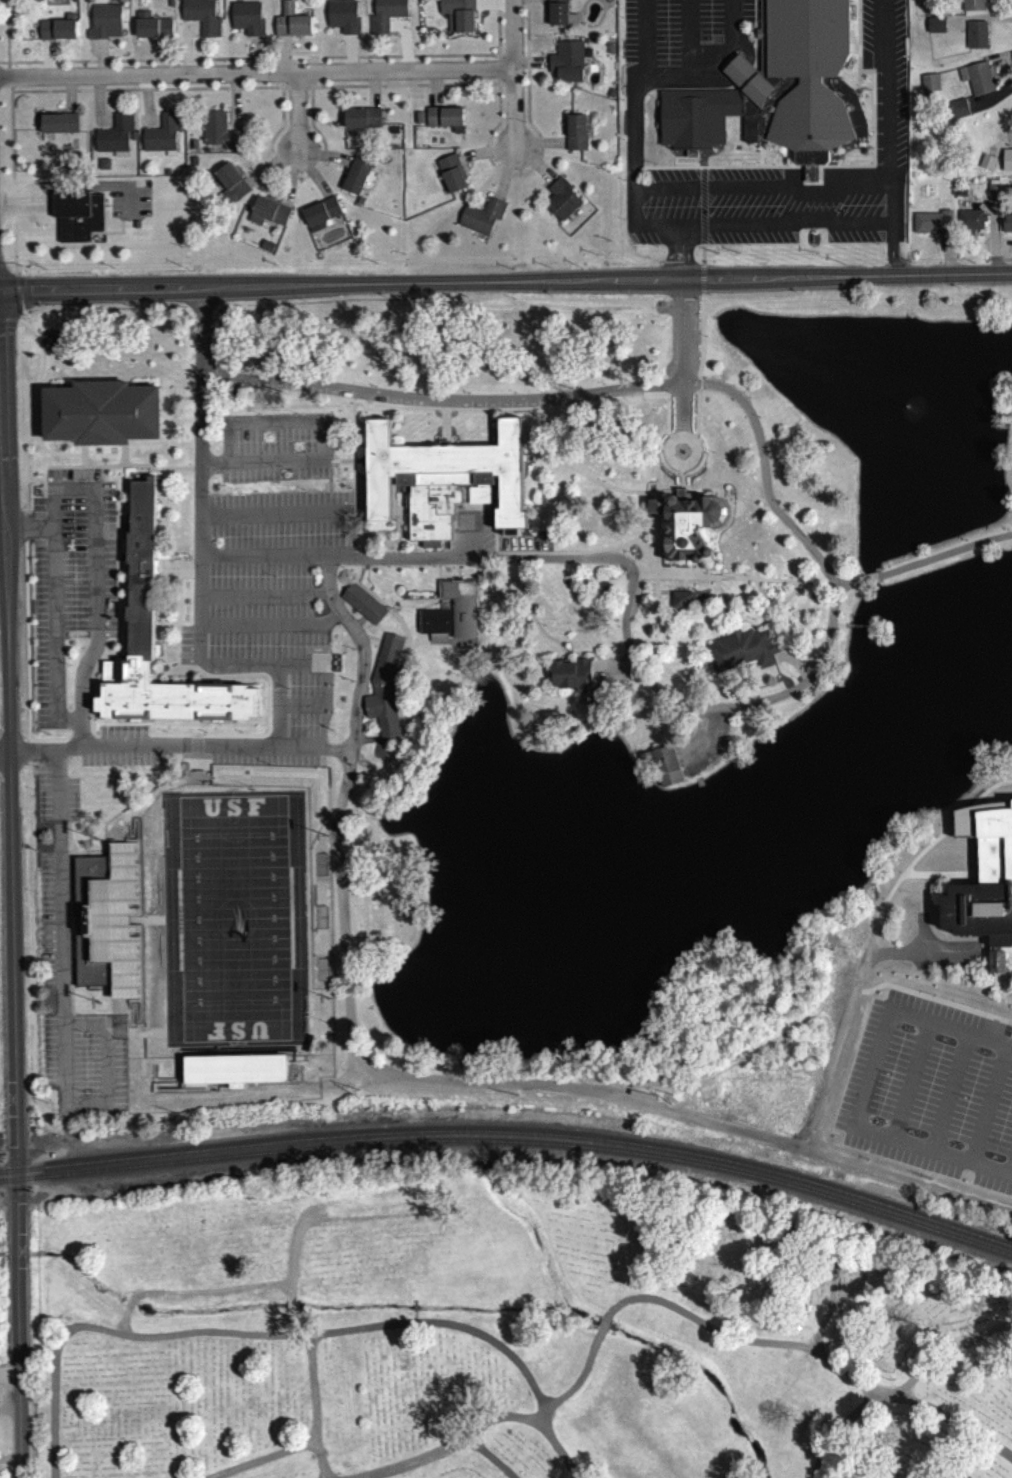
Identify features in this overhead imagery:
building: (119, 2)
road: (529, 2)
building: (73, 3)
road: (525, 3)
building: (88, 4)
building: (170, 6)
building: (972, 7)
road: (493, 9)
building: (556, 14)
building: (386, 16)
building: (458, 16)
building: (201, 20)
building: (343, 21)
road: (977, 21)
building: (247, 23)
building: (104, 26)
building: (291, 27)
road: (496, 29)
building: (935, 29)
building: (151, 31)
road: (688, 32)
road: (6, 33)
building: (56, 34)
road: (753, 36)
building: (975, 40)
road: (754, 41)
parking lot: (678, 43)
road: (403, 46)
road: (852, 48)
road: (184, 50)
road: (349, 58)
road: (282, 59)
road: (724, 59)
road: (253, 60)
road: (164, 61)
road: (99, 62)
road: (46, 63)
street lamp: (491, 63)
road: (732, 63)
road: (251, 64)
road: (511, 64)
road: (728, 64)
road: (310, 65)
building: (566, 66)
road: (5, 67)
street lamp: (223, 68)
road: (529, 68)
street lamp: (82, 70)
road: (497, 74)
road: (512, 75)
road: (310, 77)
road: (256, 78)
road: (7, 81)
road: (680, 81)
building: (975, 81)
road: (497, 84)
building: (800, 84)
building: (928, 87)
road: (309, 89)
road: (848, 89)
road: (403, 90)
road: (857, 90)
road: (306, 91)
road: (11, 92)
road: (282, 92)
road: (285, 92)
road: (294, 92)
road: (850, 92)
road: (9, 93)
road: (435, 93)
road: (738, 93)
road: (373, 94)
road: (51, 95)
building: (610, 97)
road: (311, 99)
road: (68, 100)
road: (991, 103)
road: (233, 107)
road: (95, 110)
road: (144, 110)
road: (888, 111)
building: (957, 113)
road: (871, 114)
road: (296, 118)
building: (445, 122)
building: (695, 122)
building: (362, 123)
building: (419, 123)
building: (58, 128)
street lamp: (523, 128)
street lamp: (308, 133)
road: (869, 134)
building: (392, 135)
building: (219, 136)
building: (575, 137)
building: (161, 138)
building: (114, 139)
building: (133, 141)
building: (191, 148)
road: (538, 149)
road: (538, 155)
road: (484, 158)
road: (760, 160)
road: (323, 161)
building: (191, 165)
road: (533, 168)
road: (269, 170)
road: (831, 171)
road: (632, 173)
road: (502, 177)
building: (357, 178)
building: (451, 178)
parking lot: (793, 179)
road: (312, 180)
road: (297, 182)
road: (290, 184)
building: (229, 189)
road: (89, 192)
building: (992, 196)
road: (100, 200)
road: (25, 203)
building: (561, 204)
parking lot: (129, 205)
building: (359, 205)
road: (701, 210)
road: (36, 212)
building: (321, 216)
building: (268, 217)
road: (784, 219)
building: (76, 220)
building: (481, 220)
road: (124, 222)
building: (969, 225)
road: (50, 226)
building: (931, 226)
building: (1006, 227)
road: (58, 228)
building: (135, 229)
road: (112, 236)
road: (110, 238)
road: (992, 241)
building: (266, 251)
road: (891, 251)
road: (684, 254)
road: (668, 256)
road: (946, 257)
road: (701, 259)
road: (699, 270)
road: (653, 279)
road: (742, 279)
road: (898, 279)
road: (391, 283)
road: (701, 284)
road: (87, 288)
road: (17, 298)
road: (702, 299)
road: (7, 325)
road: (18, 326)
road: (699, 341)
road: (202, 350)
road: (681, 357)
road: (74, 387)
road: (152, 387)
road: (696, 390)
parking lot: (282, 392)
road: (353, 396)
road: (440, 397)
road: (653, 397)
road: (681, 398)
road: (350, 403)
parking lot: (586, 403)
road: (356, 406)
parking lot: (397, 406)
road: (697, 407)
parking lot: (507, 409)
road: (365, 412)
fountain: (905, 412)
road: (523, 413)
road: (522, 414)
road: (449, 416)
building: (102, 418)
road: (541, 421)
road: (444, 432)
road: (666, 437)
road: (695, 438)
road: (322, 442)
road: (669, 442)
road: (691, 442)
road: (38, 445)
road: (655, 448)
road: (115, 451)
road: (100, 452)
parking lot: (272, 452)
road: (1, 455)
road: (82, 455)
road: (198, 457)
road: (353, 460)
road: (123, 461)
road: (529, 463)
road: (327, 466)
road: (342, 466)
road: (357, 466)
road: (706, 467)
road: (684, 471)
road: (64, 472)
road: (177, 473)
road: (689, 473)
road: (192, 474)
road: (571, 474)
road: (680, 474)
road: (328, 475)
road: (763, 475)
road: (142, 479)
road: (680, 485)
building: (444, 487)
road: (328, 491)
road: (717, 492)
road: (712, 494)
road: (396, 495)
road: (495, 495)
road: (467, 497)
road: (327, 498)
road: (339, 499)
road: (353, 499)
road: (463, 499)
road: (393, 501)
road: (2, 509)
road: (478, 509)
road: (656, 511)
road: (460, 512)
road: (46, 516)
road: (617, 516)
road: (402, 518)
road: (275, 519)
road: (350, 519)
road: (353, 519)
road: (653, 522)
road: (360, 524)
road: (366, 525)
building: (689, 530)
parking lot: (486, 531)
road: (644, 531)
road: (494, 534)
road: (26, 535)
road: (521, 535)
road: (1, 536)
street lamp: (73, 537)
road: (354, 538)
road: (397, 538)
road: (520, 544)
road: (352, 546)
parking lot: (520, 550)
road: (548, 558)
road: (944, 559)
road: (268, 560)
road: (397, 560)
road: (359, 562)
road: (192, 567)
road: (650, 567)
road: (361, 570)
road: (184, 571)
road: (455, 571)
road: (475, 571)
building: (141, 572)
road: (669, 572)
road: (688, 572)
road: (694, 572)
road: (667, 573)
road: (159, 575)
road: (195, 575)
road: (655, 575)
road: (663, 578)
road: (171, 579)
road: (461, 579)
street lamp: (272, 581)
road: (456, 581)
road: (878, 581)
parking lot: (69, 582)
road: (868, 583)
road: (94, 585)
road: (763, 585)
road: (328, 589)
road: (846, 589)
road: (183, 593)
road: (668, 598)
road: (264, 599)
road: (344, 599)
parking lot: (634, 602)
road: (188, 603)
parking lot: (268, 603)
building: (682, 605)
road: (434, 606)
building: (362, 608)
road: (773, 608)
road: (383, 611)
road: (477, 612)
road: (727, 616)
building: (450, 617)
road: (490, 618)
road: (625, 619)
road: (475, 621)
road: (182, 625)
road: (771, 625)
road: (357, 626)
road: (268, 630)
road: (535, 630)
road: (836, 631)
road: (856, 631)
road: (843, 633)
road: (368, 642)
road: (53, 643)
road: (418, 645)
road: (7, 646)
road: (464, 646)
road: (26, 648)
road: (441, 648)
building: (740, 654)
road: (114, 658)
road: (103, 663)
road: (564, 664)
road: (401, 665)
road: (793, 665)
road: (164, 667)
road: (99, 669)
road: (291, 669)
road: (93, 673)
road: (611, 675)
road: (162, 678)
building: (571, 679)
road: (264, 682)
street lamp: (351, 686)
road: (92, 691)
street lamp: (286, 694)
building: (384, 694)
road: (358, 699)
building: (167, 701)
road: (277, 701)
road: (294, 710)
road: (396, 713)
parking lot: (121, 736)
road: (116, 739)
road: (272, 741)
road: (76, 742)
parking lot: (719, 742)
road: (366, 745)
road: (698, 745)
road: (11, 746)
road: (45, 746)
road: (191, 752)
road: (298, 752)
road: (702, 752)
road: (5, 758)
road: (32, 758)
road: (321, 761)
road: (357, 763)
parking lot: (120, 764)
parking lot: (267, 765)
parking lot: (359, 765)
building: (663, 770)
pier: (697, 788)
parking lot: (55, 798)
road: (149, 799)
road: (967, 809)
road: (129, 825)
road: (125, 832)
road: (12, 844)
road: (131, 846)
road: (332, 852)
road: (922, 855)
road: (106, 858)
road: (911, 875)
road: (941, 879)
building: (983, 884)
road: (68, 923)
road: (138, 923)
park: (233, 923)
parking lot: (53, 924)
road: (133, 925)
road: (150, 925)
building: (110, 928)
stadium: (110, 928)
road: (920, 938)
road: (1010, 955)
road: (1003, 956)
road: (928, 957)
road: (1009, 957)
road: (1011, 961)
road: (869, 962)
road: (863, 999)
road: (932, 1004)
road: (118, 1012)
road: (123, 1012)
road: (61, 1013)
road: (94, 1021)
road: (1011, 1040)
road: (164, 1044)
road: (141, 1046)
road: (1009, 1047)
road: (14, 1057)
road: (830, 1060)
road: (149, 1065)
parking lot: (84, 1066)
road: (166, 1067)
building: (235, 1075)
road: (301, 1078)
road: (908, 1085)
road: (342, 1087)
road: (454, 1087)
road: (310, 1088)
road: (273, 1089)
road: (861, 1090)
road: (193, 1091)
parking lot: (930, 1096)
road: (947, 1096)
road: (987, 1109)
railway: (512, 1137)
railway: (520, 1147)
road: (1010, 1174)
railway: (8, 1185)
road: (934, 1190)
road: (16, 1220)
road: (17, 1315)
road: (697, 1318)
park: (509, 1330)
road: (288, 1333)
road: (949, 1350)
road: (8, 1375)
road: (18, 1387)
road: (317, 1405)
road: (9, 1406)
road: (502, 1416)
road: (957, 1419)
road: (840, 1427)
road: (19, 1438)
road: (493, 1457)
road: (266, 1458)
road: (407, 1463)

